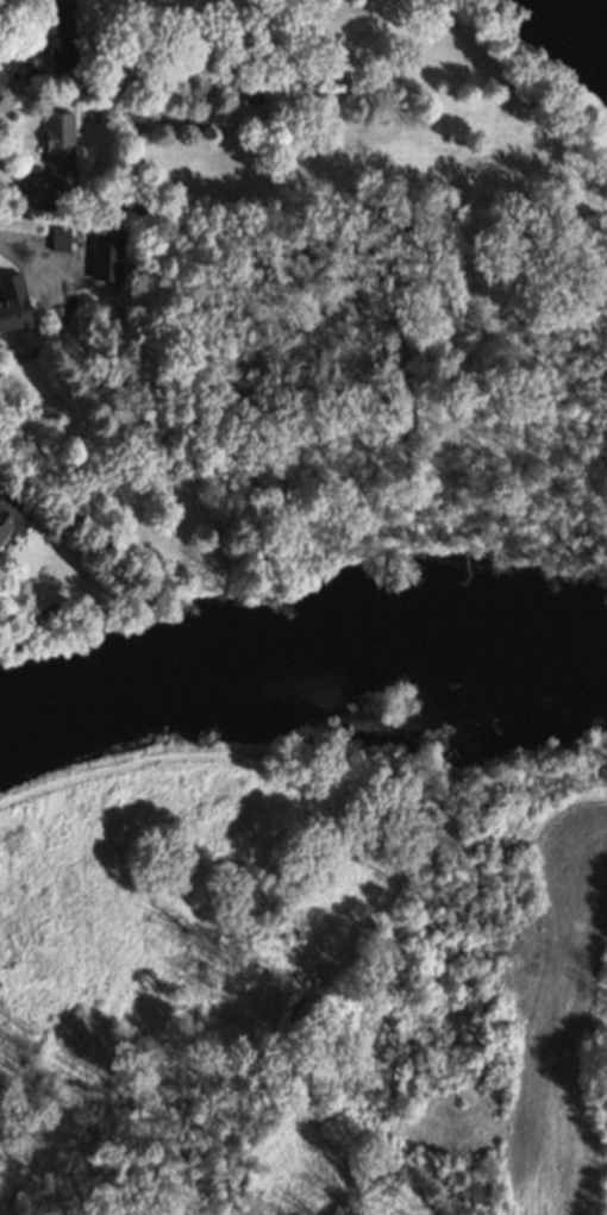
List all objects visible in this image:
building: (61, 36)
road: (7, 60)
building: (60, 152)
road: (7, 190)
road: (13, 243)
building: (105, 261)
building: (13, 306)
building: (12, 519)
river: (299, 651)

